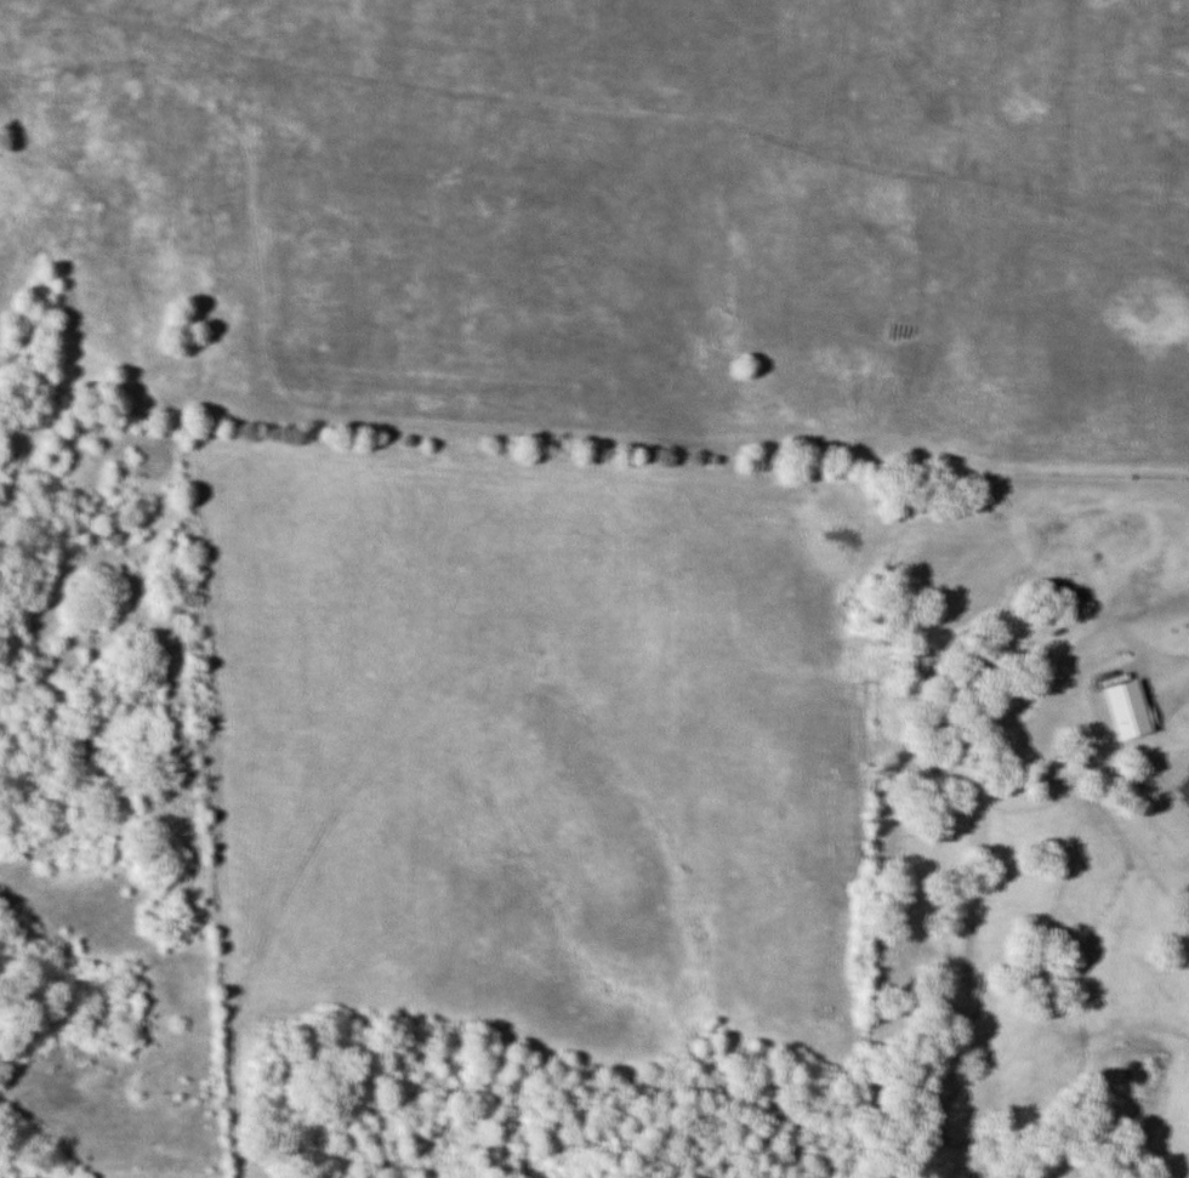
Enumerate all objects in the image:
road: (1171, 679)

